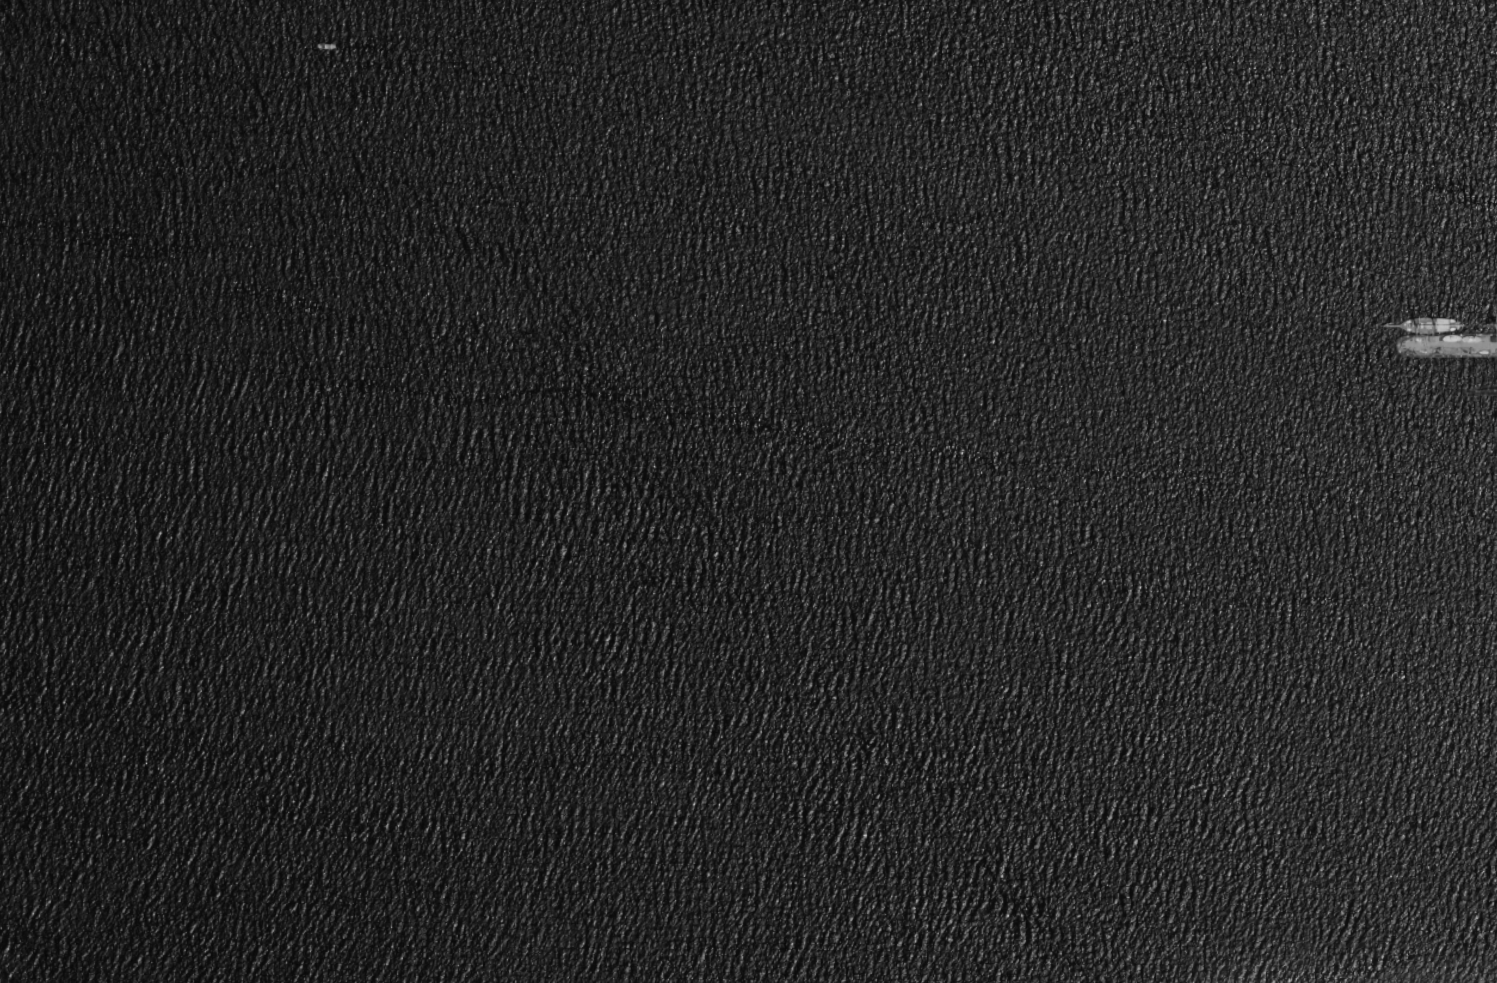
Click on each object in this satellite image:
building: (1427, 327)
building: (1494, 327)
road: (1453, 344)
pier: (1447, 346)

